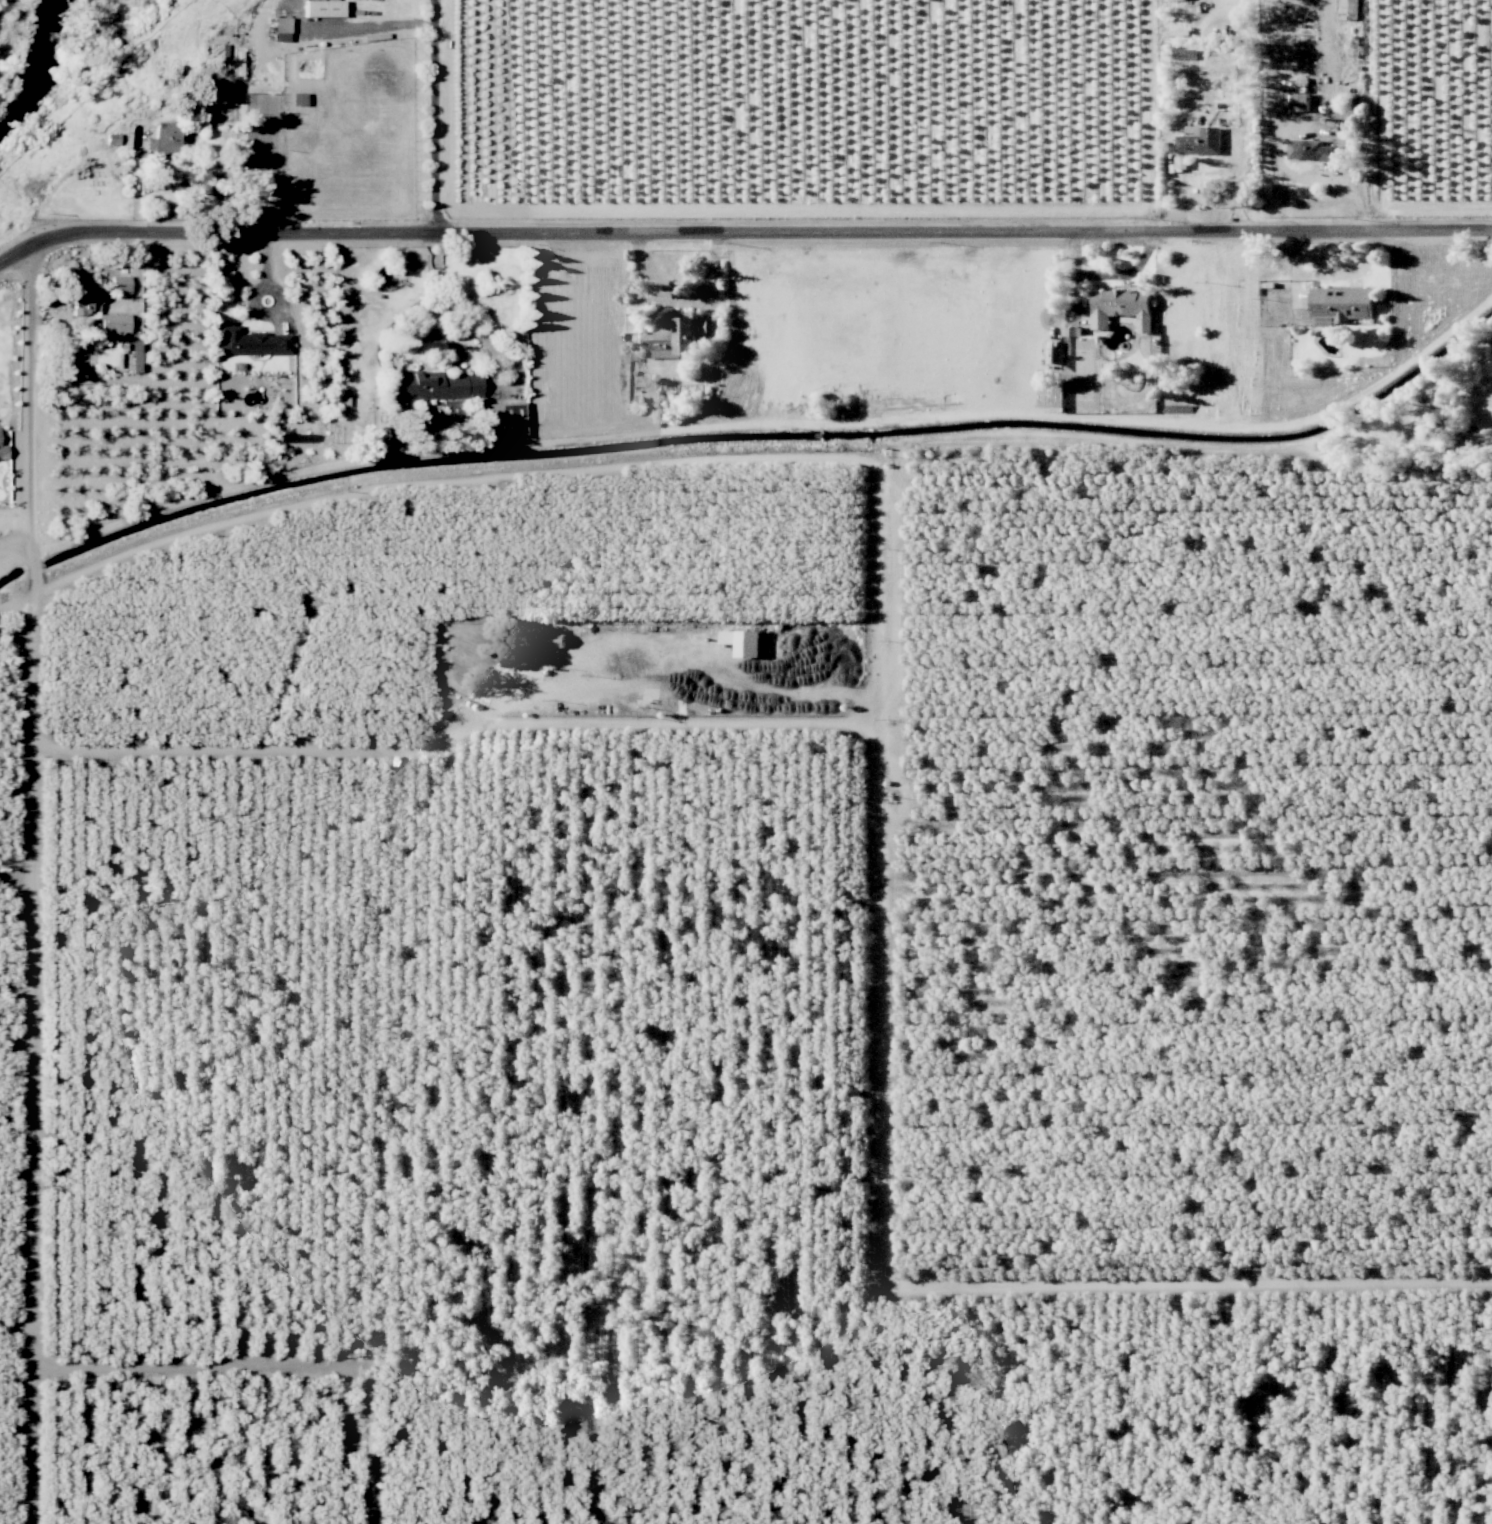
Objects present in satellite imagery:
building: (320, 8)
building: (1349, 10)
building: (280, 29)
building: (216, 52)
river: (37, 64)
building: (202, 87)
building: (297, 99)
building: (1301, 102)
road: (432, 117)
building: (160, 138)
building: (1200, 140)
building: (1312, 151)
building: (1182, 162)
road: (743, 232)
road: (1110, 274)
building: (118, 285)
building: (81, 303)
building: (1122, 308)
building: (112, 323)
building: (1073, 332)
building: (677, 336)
building: (250, 342)
building: (434, 386)
road: (32, 390)
building: (1481, 400)
building: (495, 419)
building: (2, 452)
building: (555, 640)
building: (744, 642)
road: (883, 760)

